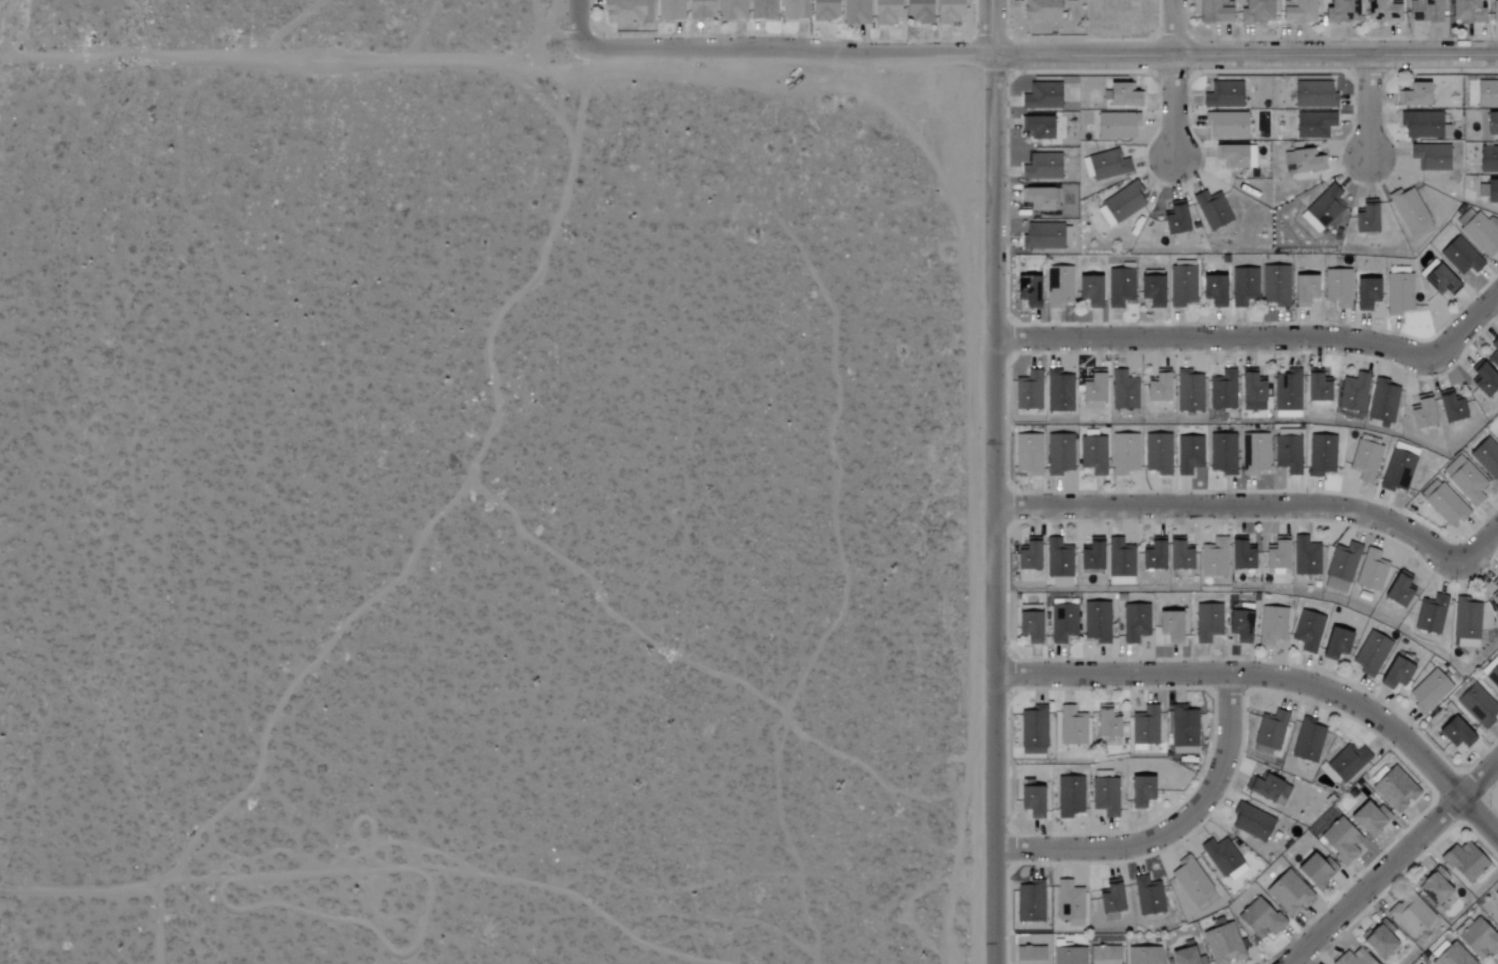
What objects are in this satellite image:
building: (700, 9)
building: (793, 9)
building: (670, 10)
building: (731, 10)
building: (762, 10)
building: (824, 10)
building: (1041, 10)
building: (627, 11)
building: (918, 11)
building: (1213, 11)
building: (1256, 11)
building: (1297, 11)
building: (1424, 11)
building: (885, 12)
building: (948, 12)
building: (1340, 12)
building: (1383, 12)
building: (1466, 12)
building: (1495, 12)
building: (856, 13)
road: (579, 24)
road: (997, 26)
road: (1174, 28)
road: (788, 51)
road: (1247, 56)
road: (291, 60)
building: (1487, 93)
building: (1313, 94)
building: (1414, 94)
building: (1122, 95)
building: (1223, 95)
building: (1041, 96)
road: (548, 105)
road: (1174, 108)
road: (1371, 108)
building: (1491, 123)
building: (1227, 124)
building: (1314, 124)
building: (1421, 124)
building: (1036, 126)
building: (1116, 126)
building: (1235, 155)
building: (1430, 157)
building: (1488, 159)
building: (1305, 161)
building: (1107, 165)
building: (1041, 166)
building: (1491, 190)
building: (1039, 197)
building: (1325, 206)
building: (1212, 209)
building: (1409, 211)
building: (1365, 217)
building: (1464, 217)
building: (1174, 219)
building: (1481, 234)
building: (1044, 236)
building: (1460, 256)
building: (1440, 280)
building: (1182, 285)
building: (1275, 285)
building: (1058, 286)
building: (1243, 286)
building: (1119, 287)
building: (1338, 287)
building: (1088, 290)
building: (1150, 290)
building: (1213, 290)
building: (1303, 290)
building: (1027, 291)
building: (1365, 293)
building: (1399, 294)
road: (1471, 321)
road: (1225, 338)
building: (1494, 352)
building: (1484, 379)
building: (1157, 387)
building: (1316, 387)
building: (1092, 388)
building: (1123, 390)
building: (1222, 390)
building: (1029, 391)
building: (1059, 391)
building: (1251, 391)
building: (1189, 392)
building: (1354, 392)
building: (1288, 394)
building: (1383, 401)
building: (1449, 407)
building: (1421, 412)
building: (1497, 438)
building: (1124, 453)
building: (1223, 453)
building: (1255, 453)
building: (1288, 453)
building: (1059, 454)
building: (1093, 454)
building: (1157, 454)
building: (1188, 454)
building: (1321, 454)
building: (1486, 457)
building: (1365, 460)
building: (1465, 480)
road: (1240, 501)
building: (1445, 504)
road: (448, 506)
road: (1001, 508)
road: (1482, 544)
building: (1152, 554)
building: (1026, 555)
building: (1240, 555)
building: (1090, 556)
building: (1178, 556)
building: (1276, 557)
building: (1305, 557)
building: (1214, 558)
building: (1058, 562)
building: (1120, 562)
building: (1341, 567)
building: (1371, 571)
building: (1495, 588)
building: (1398, 589)
building: (1431, 614)
building: (1096, 622)
building: (1135, 622)
building: (1207, 622)
building: (1063, 623)
building: (1466, 623)
building: (1271, 625)
building: (1028, 626)
building: (1169, 626)
building: (1307, 631)
building: (1334, 643)
building: (1370, 653)
building: (1395, 673)
building: (1493, 676)
road: (1277, 678)
building: (1428, 691)
building: (1478, 705)
building: (1104, 722)
building: (1072, 726)
building: (1145, 727)
building: (1033, 729)
building: (1451, 729)
building: (1184, 730)
building: (1270, 730)
building: (1307, 741)
building: (1347, 762)
building: (1268, 789)
building: (1394, 789)
building: (1140, 792)
building: (1069, 796)
building: (1105, 796)
building: (1030, 801)
building: (1368, 818)
building: (1251, 822)
road: (1170, 828)
building: (1341, 841)
building: (1224, 859)
road: (1394, 862)
building: (1466, 862)
building: (1316, 870)
building: (1190, 879)
building: (1433, 887)
road: (77, 890)
building: (1288, 893)
building: (1147, 896)
building: (1109, 897)
building: (1069, 901)
building: (1030, 902)
building: (1496, 910)
building: (1410, 915)
building: (1259, 919)
road: (155, 927)
building: (1478, 939)
building: (1378, 940)
building: (1223, 944)
building: (1030, 955)
building: (1068, 955)
building: (1103, 955)
building: (1143, 955)
building: (1184, 956)
building: (1452, 956)
building: (1353, 958)

